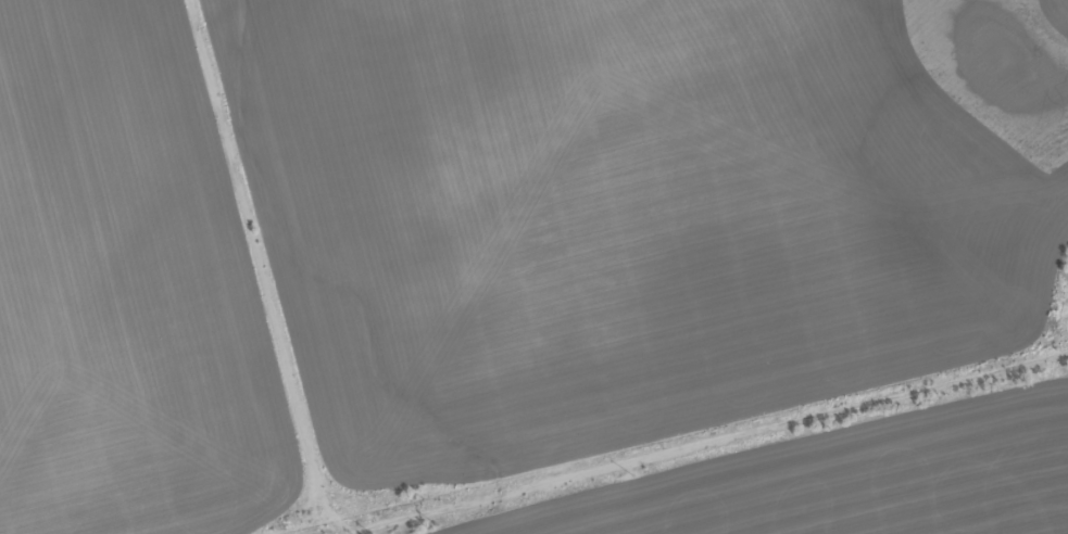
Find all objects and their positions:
road: (716, 438)

